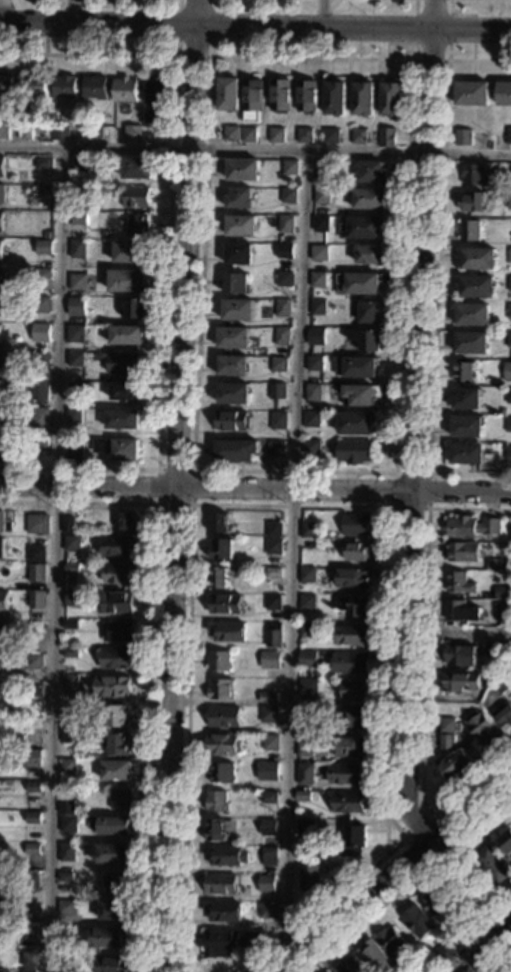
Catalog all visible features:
road: (164, 6)
road: (227, 6)
road: (70, 13)
road: (198, 13)
road: (323, 14)
road: (170, 25)
road: (219, 27)
road: (255, 27)
road: (176, 51)
road: (211, 51)
road: (195, 55)
road: (429, 60)
building: (35, 86)
building: (65, 87)
building: (95, 88)
building: (125, 90)
building: (504, 92)
building: (471, 93)
building: (228, 94)
building: (281, 96)
building: (307, 96)
building: (6, 98)
building: (334, 98)
building: (154, 99)
building: (363, 99)
building: (390, 99)
building: (252, 102)
building: (4, 131)
building: (27, 132)
building: (59, 132)
building: (86, 132)
building: (133, 134)
building: (230, 135)
building: (248, 135)
building: (276, 135)
building: (304, 136)
building: (330, 136)
building: (358, 136)
building: (508, 136)
building: (387, 137)
building: (463, 137)
road: (255, 149)
building: (44, 164)
building: (78, 165)
building: (2, 167)
building: (137, 168)
building: (290, 168)
building: (323, 168)
building: (243, 170)
building: (372, 173)
building: (474, 174)
building: (42, 190)
building: (82, 192)
building: (1, 194)
building: (289, 196)
building: (322, 196)
building: (238, 198)
building: (136, 199)
building: (369, 199)
building: (509, 200)
building: (472, 202)
building: (77, 220)
building: (0, 222)
building: (138, 224)
building: (286, 224)
building: (321, 224)
building: (241, 225)
building: (360, 227)
building: (470, 231)
building: (104, 235)
building: (42, 247)
building: (0, 248)
building: (76, 249)
building: (129, 252)
road: (167, 252)
building: (284, 252)
building: (319, 252)
building: (238, 254)
building: (370, 255)
building: (509, 256)
building: (478, 259)
building: (42, 274)
building: (1, 277)
road: (436, 277)
building: (284, 279)
building: (126, 280)
building: (317, 280)
building: (77, 282)
building: (235, 283)
building: (357, 284)
building: (509, 284)
building: (476, 287)
building: (0, 303)
building: (40, 305)
building: (74, 307)
building: (283, 308)
building: (317, 308)
building: (134, 310)
building: (238, 310)
building: (509, 312)
building: (368, 313)
building: (472, 315)
building: (0, 325)
building: (40, 333)
building: (75, 333)
building: (127, 334)
building: (281, 336)
building: (315, 336)
building: (234, 338)
building: (366, 340)
building: (508, 340)
building: (470, 342)
building: (40, 357)
building: (75, 360)
building: (1, 362)
building: (314, 363)
building: (125, 364)
building: (279, 364)
building: (232, 365)
building: (354, 367)
building: (463, 371)
building: (507, 372)
building: (75, 389)
building: (40, 390)
building: (125, 392)
building: (277, 392)
building: (312, 392)
building: (233, 393)
building: (358, 395)
building: (508, 397)
building: (467, 398)
building: (41, 404)
building: (501, 412)
building: (73, 416)
building: (39, 418)
building: (122, 419)
building: (311, 419)
building: (231, 420)
building: (278, 421)
building: (355, 423)
building: (508, 425)
building: (466, 426)
road: (413, 429)
building: (38, 441)
building: (311, 447)
building: (74, 448)
building: (117, 448)
building: (276, 449)
building: (236, 450)
building: (352, 452)
building: (507, 452)
building: (468, 454)
road: (391, 473)
road: (255, 487)
road: (173, 499)
road: (189, 505)
road: (321, 507)
road: (391, 508)
building: (6, 520)
building: (127, 522)
building: (218, 522)
building: (37, 524)
building: (356, 524)
building: (67, 525)
building: (471, 527)
building: (273, 529)
building: (309, 529)
building: (71, 543)
building: (306, 543)
building: (2, 547)
building: (116, 547)
building: (273, 547)
building: (221, 548)
road: (291, 550)
building: (356, 550)
building: (462, 551)
building: (36, 554)
road: (55, 559)
building: (494, 565)
building: (71, 568)
building: (273, 572)
building: (36, 573)
building: (118, 574)
building: (306, 575)
building: (353, 577)
building: (218, 578)
building: (508, 579)
building: (459, 583)
building: (503, 592)
building: (73, 598)
building: (36, 599)
building: (3, 601)
building: (272, 602)
building: (306, 602)
building: (117, 603)
building: (225, 604)
building: (354, 606)
building: (460, 610)
building: (502, 612)
building: (69, 624)
building: (307, 630)
building: (119, 631)
building: (227, 631)
building: (1, 632)
building: (351, 634)
building: (272, 635)
road: (460, 636)
building: (494, 649)
building: (66, 652)
building: (509, 654)
building: (460, 655)
building: (117, 659)
building: (306, 659)
road: (152, 660)
building: (268, 660)
building: (34, 661)
building: (218, 661)
building: (349, 662)
building: (0, 667)
road: (424, 669)
building: (459, 680)
building: (69, 682)
building: (112, 686)
building: (499, 686)
building: (220, 688)
building: (307, 688)
building: (35, 691)
building: (354, 691)
building: (267, 697)
building: (69, 708)
building: (268, 714)
building: (305, 715)
building: (503, 715)
building: (117, 716)
building: (223, 716)
building: (352, 718)
building: (446, 725)
building: (482, 727)
building: (69, 737)
building: (20, 738)
building: (447, 741)
building: (269, 742)
building: (117, 745)
building: (222, 745)
building: (304, 746)
building: (350, 747)
building: (32, 759)
building: (455, 763)
building: (67, 767)
building: (116, 770)
building: (266, 770)
building: (221, 772)
building: (346, 773)
building: (305, 774)
building: (34, 787)
building: (268, 796)
building: (302, 796)
building: (121, 799)
building: (216, 801)
building: (348, 802)
building: (65, 807)
building: (32, 818)
building: (68, 824)
building: (111, 825)
building: (268, 827)
building: (305, 828)
building: (215, 829)
road: (449, 834)
building: (354, 840)
building: (505, 842)
building: (32, 849)
road: (461, 849)
building: (67, 852)
building: (302, 852)
building: (108, 853)
building: (227, 856)
building: (268, 858)
building: (493, 867)
building: (66, 876)
building: (309, 876)
road: (388, 877)
road: (415, 877)
building: (116, 882)
building: (30, 883)
building: (265, 883)
building: (220, 884)
building: (510, 888)
road: (472, 891)
building: (434, 901)
building: (66, 908)
building: (114, 910)
building: (222, 911)
building: (268, 911)
building: (29, 915)
building: (418, 921)
building: (65, 934)
building: (466, 934)
building: (108, 937)
building: (390, 939)
building: (12, 942)
building: (227, 943)
road: (480, 946)
building: (445, 951)
building: (376, 957)
building: (29, 960)
building: (65, 963)
building: (112, 964)
building: (480, 965)
building: (349, 966)
building: (413, 970)
building: (466, 970)
building: (28, 971)

